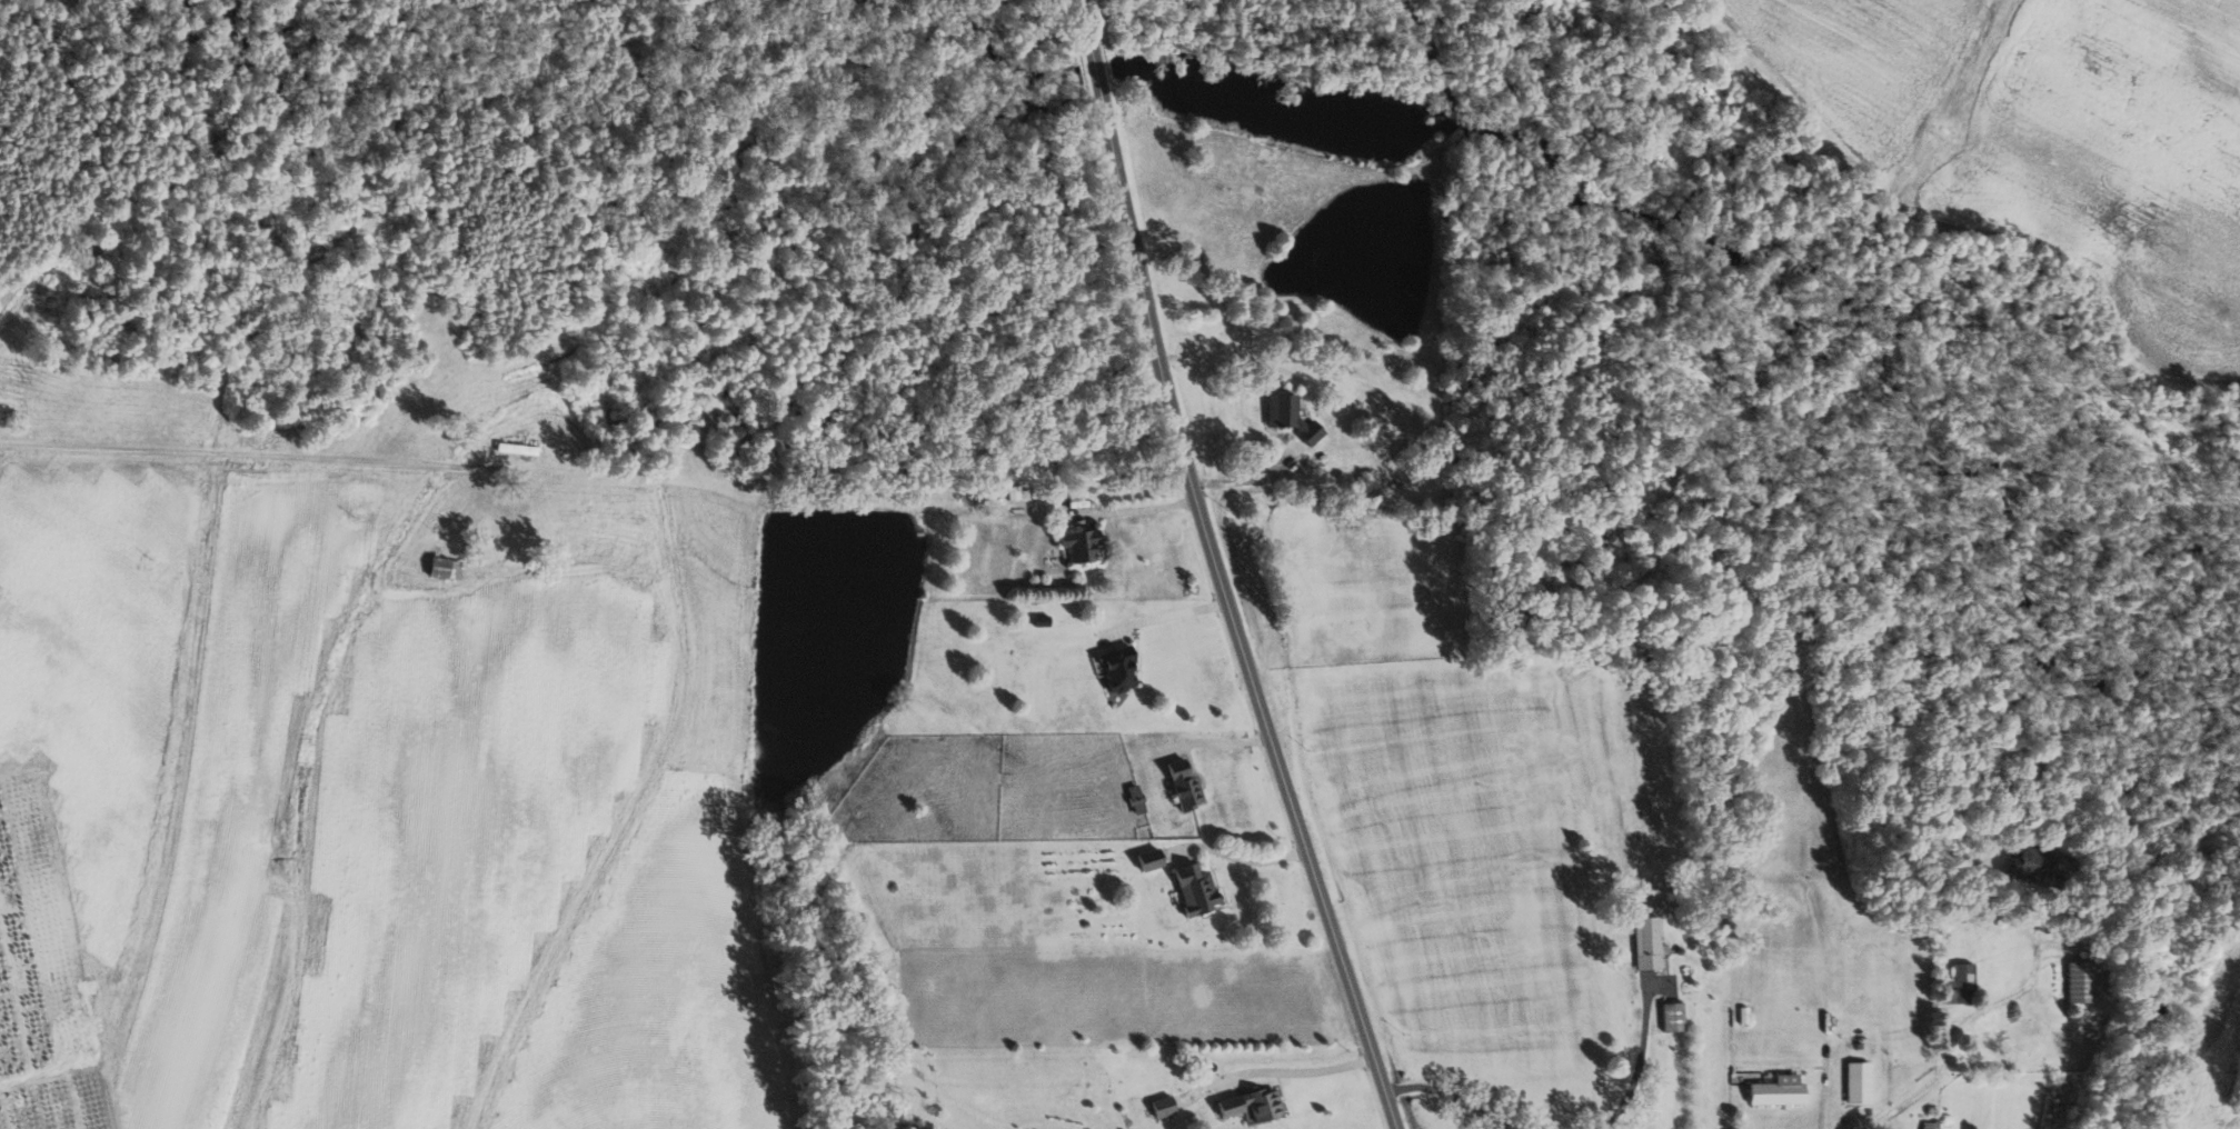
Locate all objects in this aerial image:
road: (1085, 24)
road: (1096, 77)
river: (1482, 131)
building: (1291, 416)
road: (1245, 466)
road: (489, 470)
road: (1141, 507)
building: (1081, 542)
building: (445, 567)
road: (1172, 609)
road: (1237, 619)
building: (1117, 668)
road: (1219, 740)
building: (1184, 783)
building: (1135, 798)
road: (1245, 851)
building: (1149, 859)
building: (2037, 863)
building: (1195, 888)
building: (1646, 942)
building: (2081, 981)
building: (1961, 985)
road: (2012, 997)
building: (1673, 1016)
road: (1641, 1063)
road: (1276, 1067)
building: (1859, 1082)
building: (1776, 1092)
road: (1826, 1092)
road: (1460, 1093)
road: (1904, 1102)
building: (1252, 1105)
building: (1163, 1106)
building: (1931, 1125)

